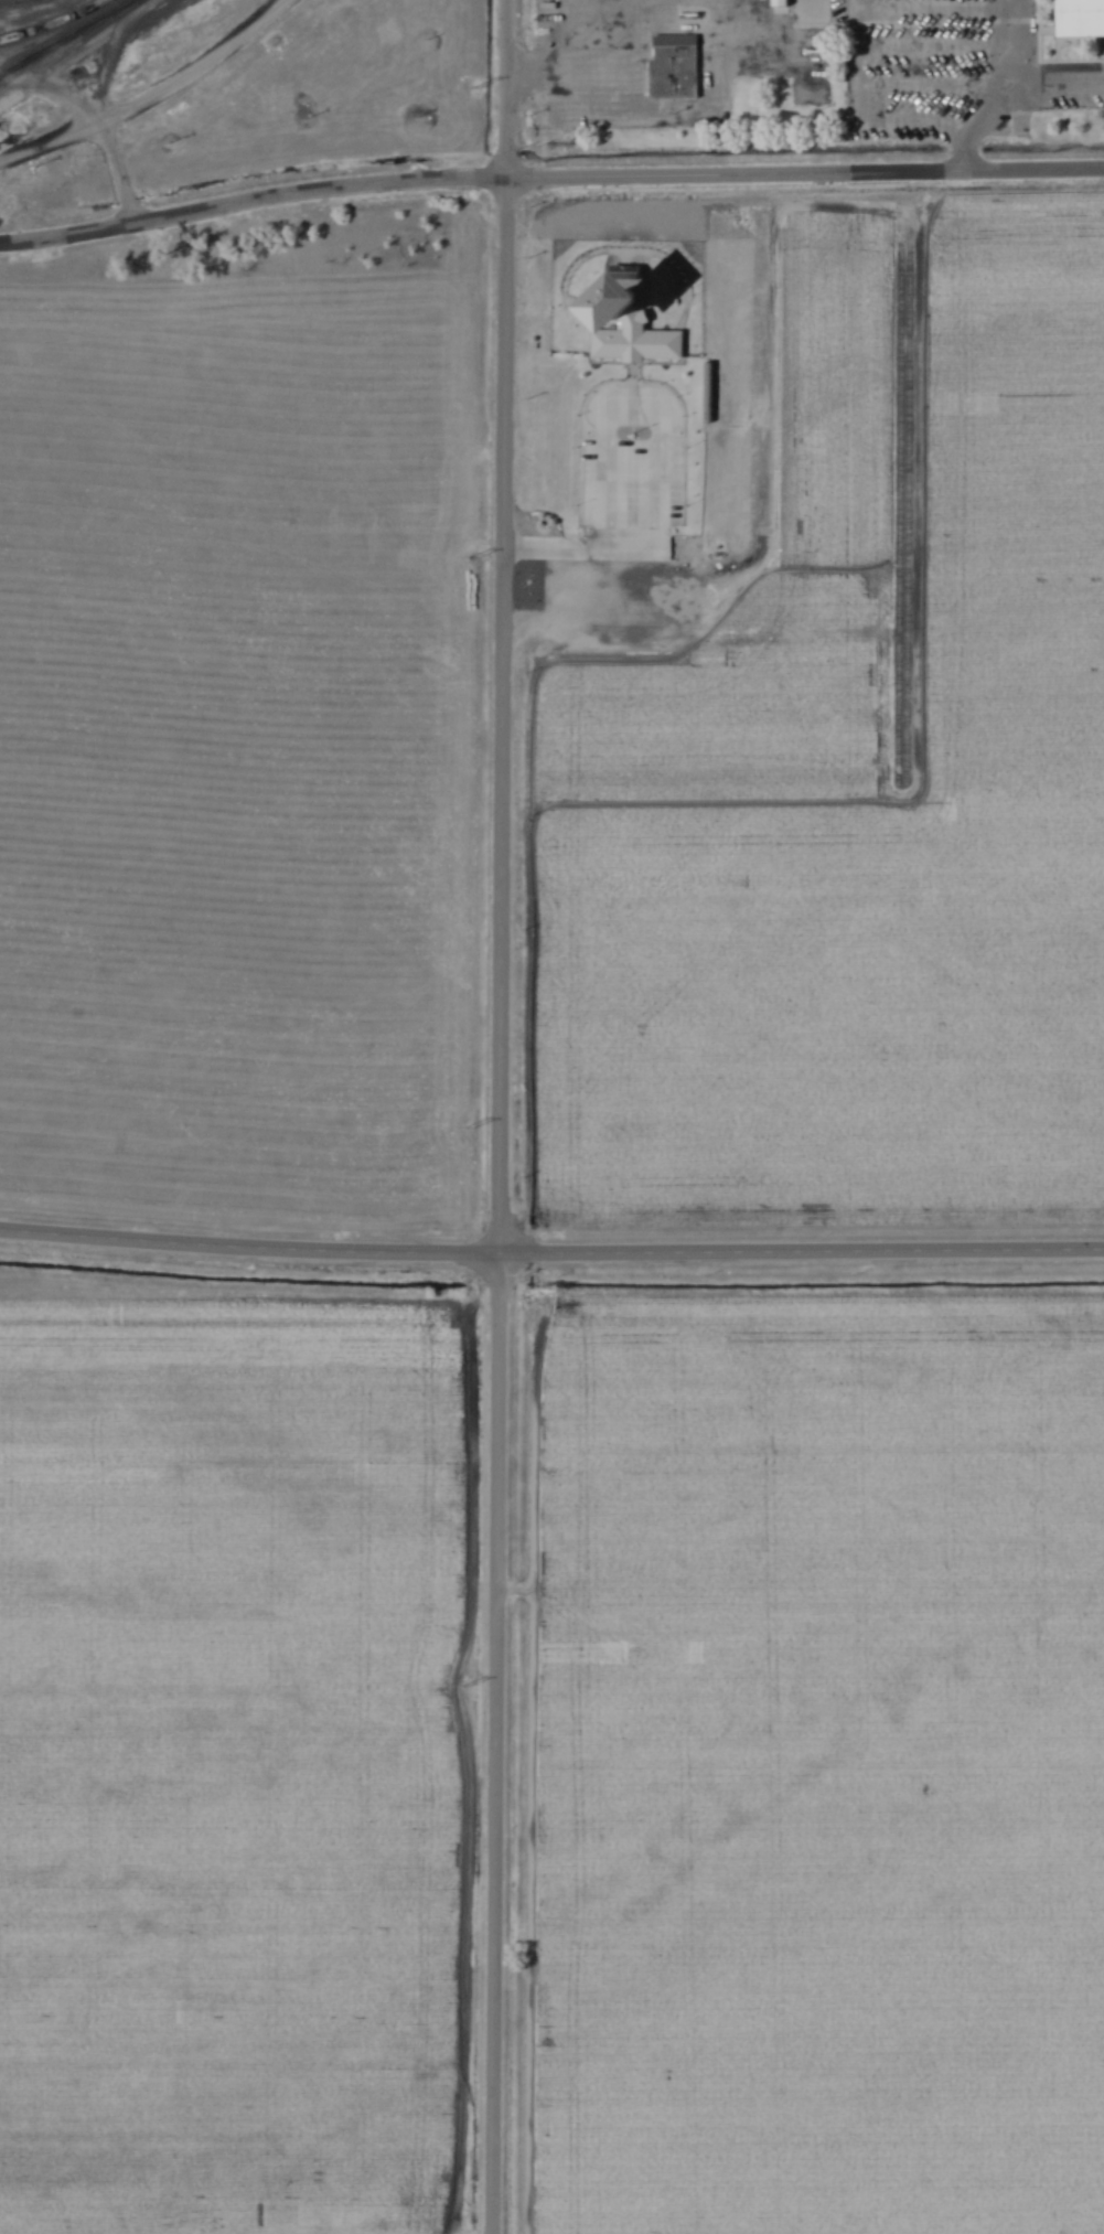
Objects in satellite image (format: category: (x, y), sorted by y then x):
railway: (13, 1)
building: (781, 3)
building: (1081, 19)
railway: (54, 24)
railway: (65, 36)
railway: (66, 45)
building: (673, 65)
road: (572, 71)
parking lot: (918, 72)
road: (1063, 83)
road: (507, 89)
road: (154, 97)
road: (925, 121)
road: (961, 146)
road: (119, 173)
road: (805, 175)
road: (251, 201)
road: (646, 265)
road: (684, 282)
building: (629, 297)
building: (636, 341)
parking lot: (631, 453)
road: (660, 459)
road: (503, 715)
crop: (882, 861)
road: (551, 1250)
road: (495, 1742)
crop: (827, 1760)
crop: (228, 1764)

